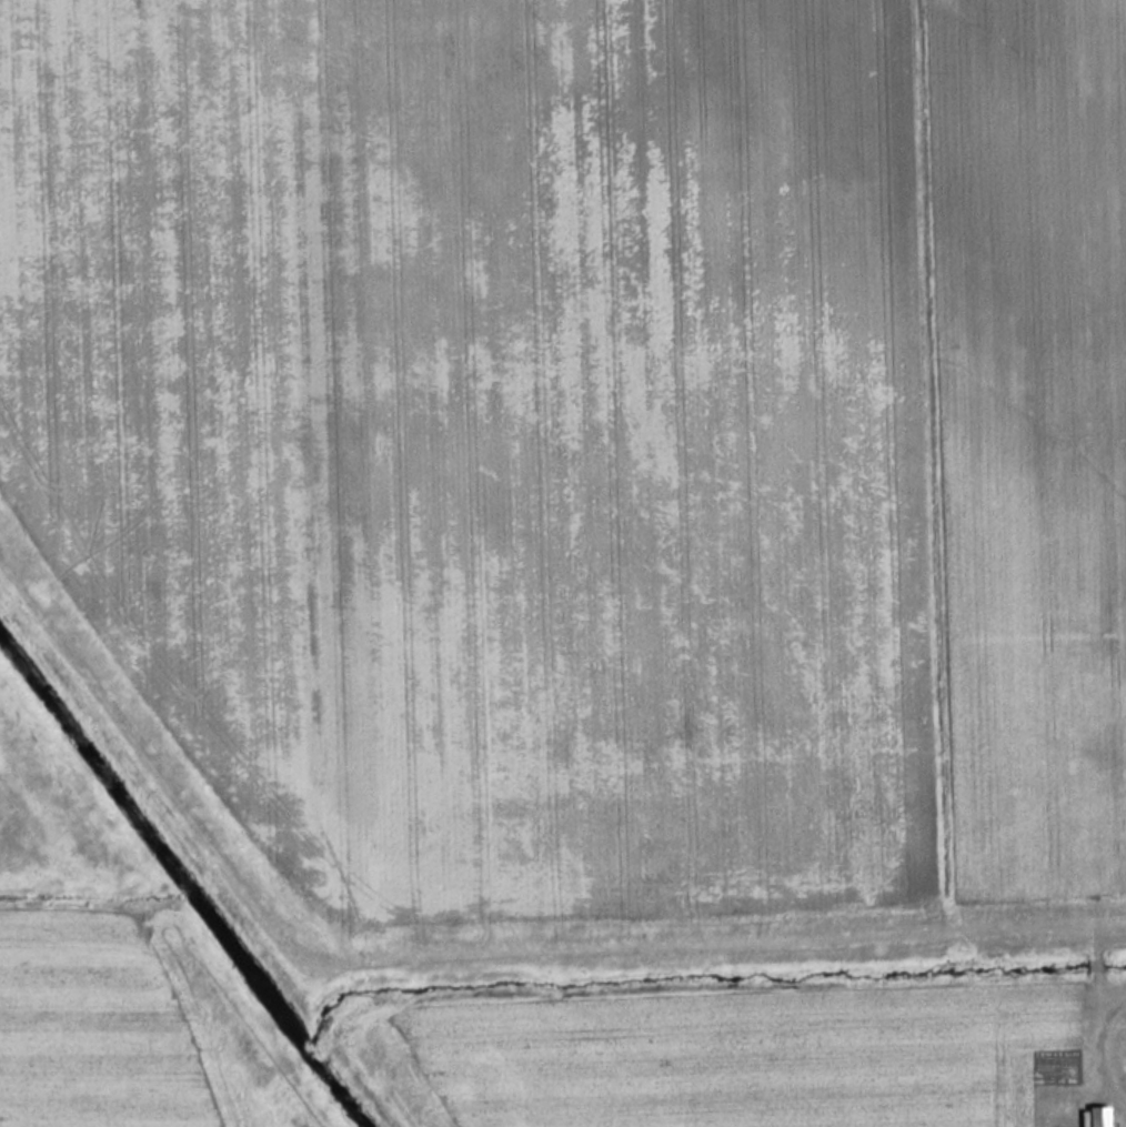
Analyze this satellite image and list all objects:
road: (1048, 922)
building: (1123, 1034)
road: (1103, 1044)
building: (1100, 1116)

